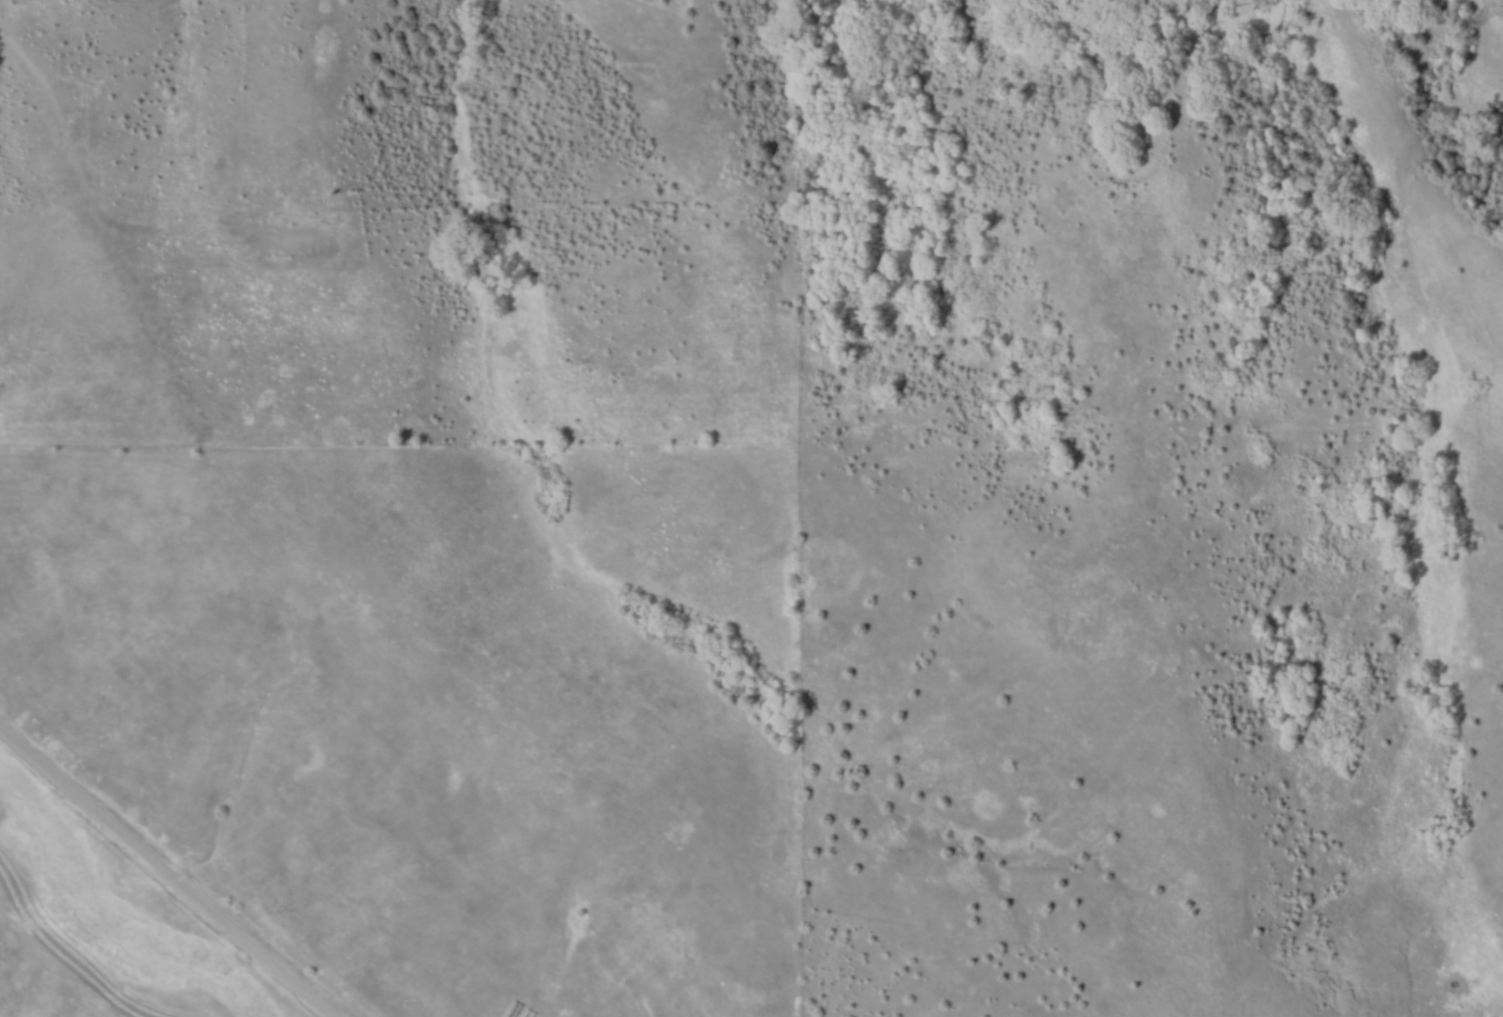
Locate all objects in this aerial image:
road: (165, 875)

